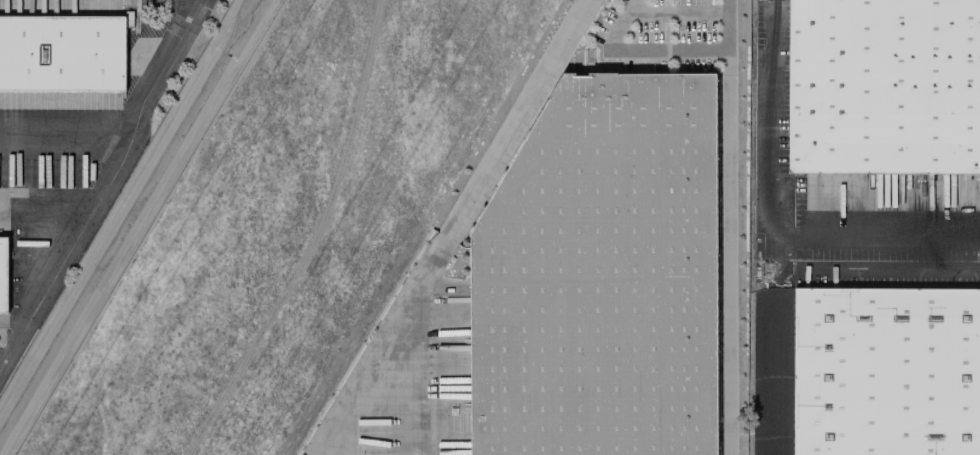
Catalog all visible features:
road: (728, 36)
building: (62, 51)
road: (641, 51)
building: (884, 86)
road: (512, 118)
road: (104, 189)
road: (772, 222)
road: (728, 264)
building: (4, 275)
building: (601, 276)
road: (774, 345)
road: (384, 349)
building: (886, 371)
road: (396, 407)

